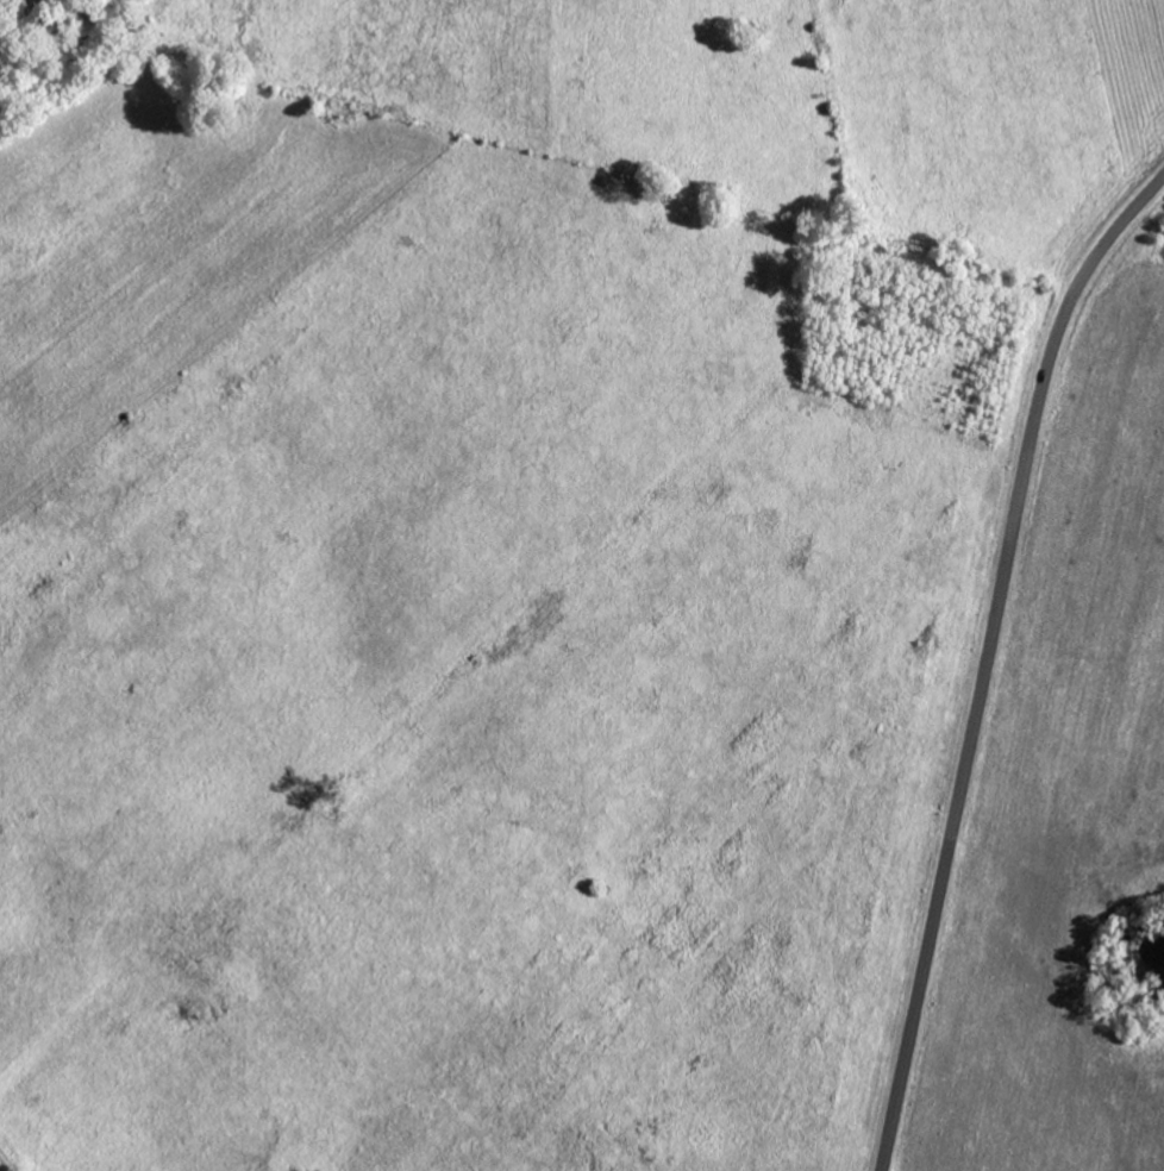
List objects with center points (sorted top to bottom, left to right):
road: (990, 659)

